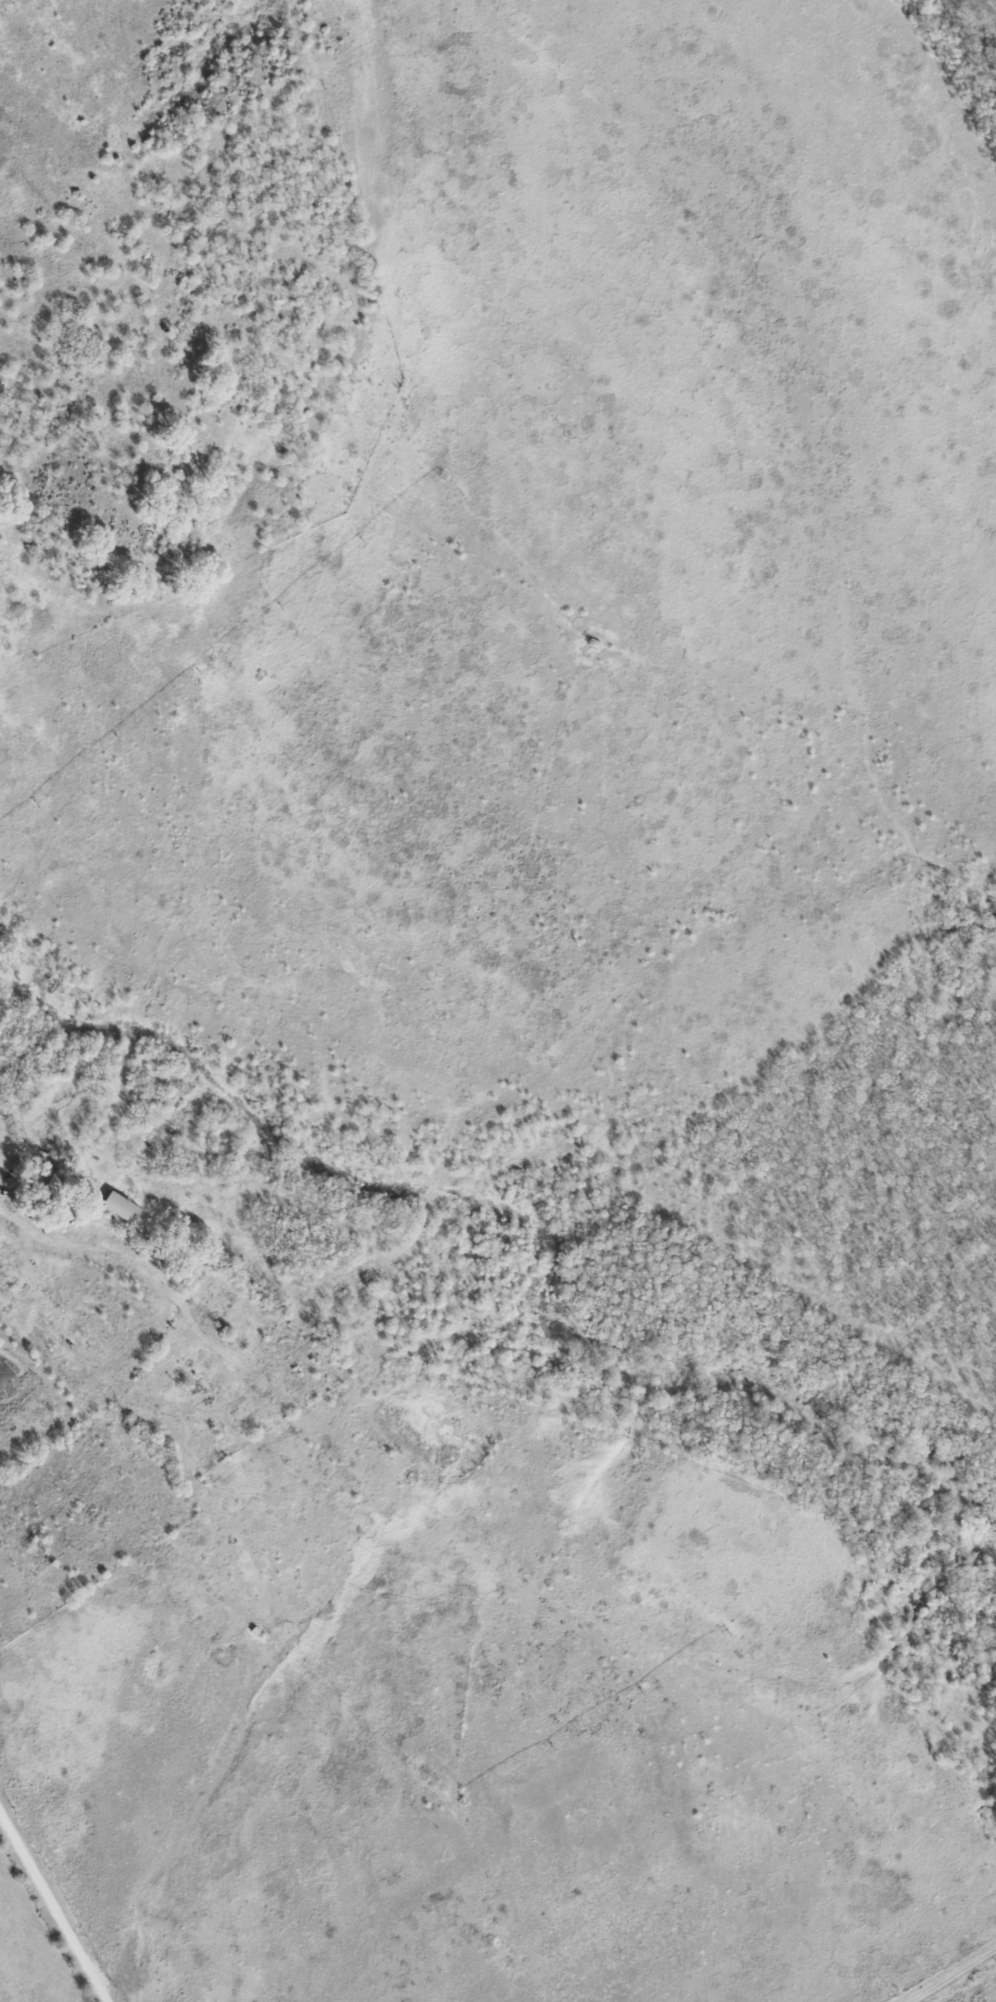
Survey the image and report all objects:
road: (21, 1223)
road: (52, 1907)

